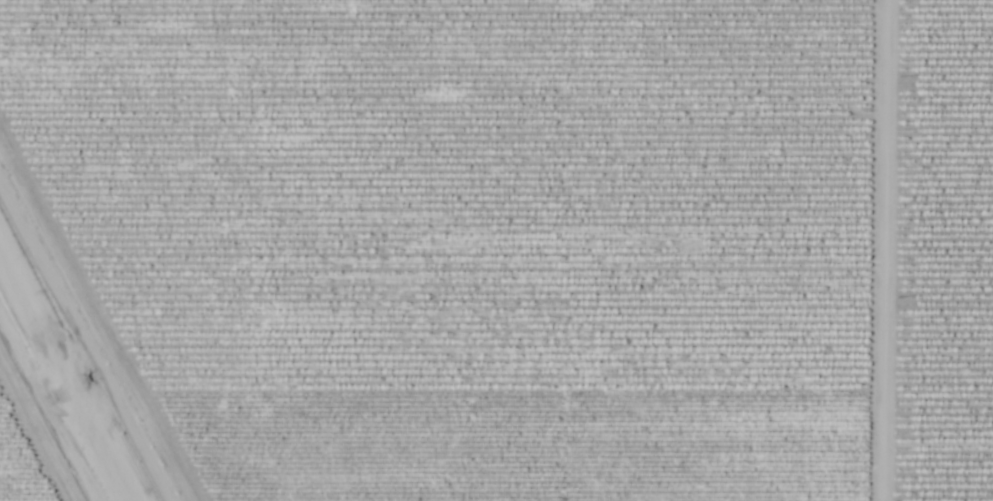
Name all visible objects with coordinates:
crop: (469, 238)
road: (880, 250)
crop: (943, 252)
railway: (63, 381)
railway: (58, 391)
crop: (15, 471)

